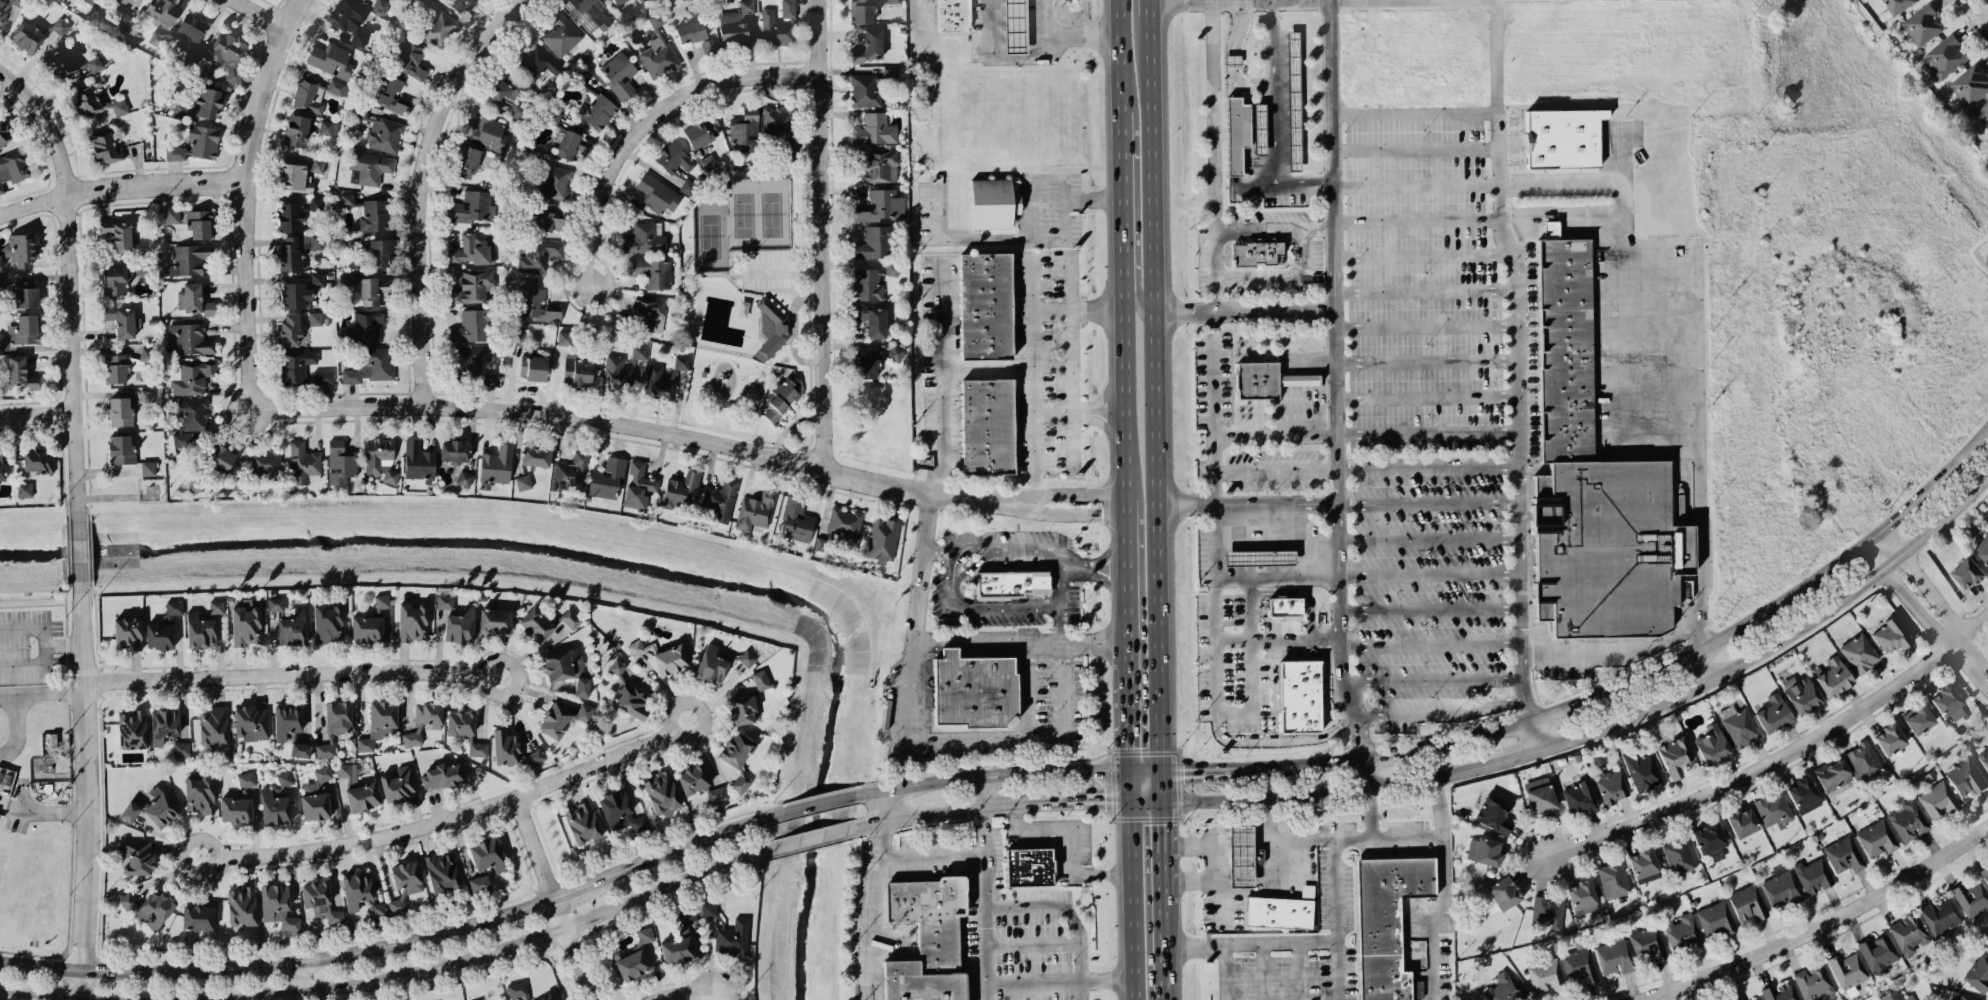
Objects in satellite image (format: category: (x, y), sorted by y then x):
building: (639, 0)
road: (1180, 0)
building: (92, 1)
building: (126, 1)
building: (616, 1)
building: (380, 5)
building: (461, 5)
road: (1148, 5)
building: (1897, 5)
building: (7, 8)
building: (788, 8)
building: (162, 10)
road: (267, 11)
road: (1976, 12)
building: (588, 13)
building: (952, 16)
building: (351, 19)
building: (656, 19)
road: (1043, 20)
building: (1922, 24)
building: (735, 25)
building: (60, 26)
building: (1015, 26)
road: (1238, 27)
building: (438, 28)
building: (776, 28)
building: (189, 31)
building: (690, 31)
building: (561, 32)
building: (26, 36)
building: (870, 46)
road: (1030, 49)
building: (228, 54)
building: (1946, 55)
building: (658, 56)
building: (409, 57)
building: (331, 59)
road: (1232, 59)
building: (94, 63)
building: (60, 64)
building: (539, 64)
building: (619, 75)
road: (1232, 80)
building: (1969, 86)
building: (339, 88)
building: (867, 88)
road: (1274, 91)
building: (387, 92)
building: (508, 92)
building: (309, 96)
building: (86, 100)
building: (1293, 100)
building: (207, 102)
building: (117, 106)
building: (597, 112)
road: (1416, 112)
building: (1983, 114)
building: (553, 117)
road: (646, 121)
building: (780, 126)
building: (328, 128)
building: (1259, 128)
building: (875, 129)
building: (296, 130)
building: (745, 131)
building: (701, 132)
building: (1236, 132)
building: (4, 133)
building: (486, 134)
building: (384, 135)
road: (1233, 135)
building: (1563, 136)
building: (203, 140)
building: (571, 145)
building: (105, 147)
road: (1416, 149)
building: (175, 153)
road: (1214, 155)
building: (674, 157)
building: (465, 161)
building: (878, 165)
building: (12, 167)
building: (370, 167)
building: (299, 174)
road: (1233, 179)
road: (1284, 181)
building: (554, 182)
road: (1417, 183)
building: (688, 186)
road: (1561, 187)
road: (122, 189)
road: (425, 189)
building: (657, 193)
road: (1137, 193)
building: (347, 199)
road: (249, 200)
building: (993, 202)
building: (470, 206)
building: (882, 206)
road: (1559, 211)
building: (171, 214)
building: (374, 215)
building: (291, 216)
building: (547, 217)
road: (1418, 219)
building: (199, 224)
road: (1321, 226)
road: (1032, 227)
road: (1261, 228)
building: (117, 234)
road: (818, 235)
building: (645, 238)
building: (874, 242)
building: (19, 249)
road: (1120, 249)
building: (297, 250)
building: (472, 250)
building: (377, 252)
road: (1425, 252)
building: (1257, 253)
building: (538, 255)
building: (189, 259)
building: (0, 261)
building: (892, 268)
building: (142, 270)
building: (652, 271)
road: (1283, 277)
road: (72, 279)
building: (318, 279)
building: (115, 280)
building: (867, 285)
building: (472, 286)
building: (372, 290)
road: (1427, 290)
building: (26, 294)
building: (295, 295)
building: (194, 300)
road: (1072, 304)
building: (537, 305)
building: (985, 305)
road: (1053, 307)
road: (1244, 310)
building: (315, 318)
building: (871, 319)
road: (1427, 324)
building: (367, 326)
building: (471, 326)
building: (289, 328)
building: (22, 331)
road: (1034, 333)
building: (779, 334)
building: (517, 337)
building: (189, 338)
building: (639, 351)
building: (896, 351)
building: (146, 353)
building: (472, 359)
road: (1315, 359)
building: (682, 361)
road: (1427, 362)
building: (868, 363)
building: (296, 365)
road: (1008, 365)
building: (371, 366)
building: (533, 367)
building: (117, 368)
building: (617, 371)
building: (577, 372)
building: (21, 373)
road: (1517, 374)
building: (323, 376)
road: (1300, 378)
building: (489, 379)
building: (1256, 379)
building: (1293, 379)
road: (941, 380)
road: (1338, 381)
building: (659, 383)
road: (1152, 391)
road: (1697, 391)
road: (1626, 392)
road: (1428, 395)
building: (781, 399)
road: (1301, 409)
road: (38, 411)
building: (119, 411)
road: (1057, 411)
road: (1099, 411)
building: (191, 417)
road: (1214, 421)
building: (987, 425)
road: (623, 427)
road: (1428, 431)
road: (1276, 433)
building: (121, 449)
building: (454, 451)
building: (536, 456)
road: (1969, 457)
building: (221, 458)
building: (381, 459)
building: (38, 460)
building: (419, 461)
road: (63, 462)
building: (303, 462)
building: (340, 462)
building: (265, 464)
building: (2, 465)
building: (496, 465)
road: (1429, 466)
building: (148, 468)
road: (1277, 468)
building: (571, 472)
building: (464, 477)
building: (607, 477)
building: (523, 482)
building: (638, 485)
building: (24, 489)
building: (681, 489)
road: (1057, 495)
building: (719, 500)
road: (1246, 503)
road: (1429, 505)
road: (1918, 506)
building: (755, 510)
road: (1057, 513)
building: (796, 520)
building: (844, 525)
road: (1430, 536)
building: (883, 539)
road: (1878, 540)
building: (819, 545)
road: (1005, 545)
building: (1983, 547)
road: (78, 549)
road: (69, 550)
building: (1614, 550)
building: (1259, 557)
river: (615, 561)
road: (1082, 565)
road: (1430, 571)
road: (1278, 573)
building: (1969, 573)
road: (1125, 580)
building: (1013, 584)
road: (1925, 584)
road: (33, 587)
road: (1061, 596)
road: (1910, 596)
building: (382, 601)
building: (445, 601)
building: (275, 603)
building: (216, 606)
building: (1285, 606)
road: (971, 608)
building: (172, 610)
road: (1431, 610)
building: (570, 618)
building: (495, 620)
building: (412, 621)
building: (328, 623)
building: (536, 624)
building: (461, 625)
road: (30, 627)
building: (292, 628)
building: (367, 628)
building: (200, 630)
building: (128, 632)
building: (159, 635)
building: (1890, 635)
road: (1277, 637)
road: (67, 638)
road: (914, 640)
road: (1020, 641)
road: (1783, 642)
road: (61, 645)
road: (1431, 646)
building: (636, 647)
road: (1611, 652)
building: (1859, 653)
building: (747, 657)
building: (670, 659)
road: (1972, 659)
building: (562, 663)
road: (31, 665)
building: (711, 665)
building: (617, 666)
road: (1706, 666)
road: (288, 673)
building: (1833, 677)
road: (1433, 678)
building: (760, 679)
building: (582, 687)
road: (1028, 688)
building: (973, 690)
road: (1216, 693)
building: (1801, 694)
road: (48, 695)
building: (1298, 695)
road: (1593, 700)
building: (631, 701)
building: (1947, 702)
building: (742, 709)
building: (1773, 713)
building: (429, 714)
building: (582, 714)
road: (1442, 714)
building: (339, 716)
road: (1128, 716)
building: (1918, 719)
building: (287, 720)
building: (555, 720)
road: (14, 722)
building: (461, 722)
building: (250, 723)
building: (380, 723)
building: (163, 724)
building: (213, 726)
building: (1740, 727)
building: (132, 729)
road: (1026, 735)
building: (412, 738)
road: (1279, 738)
building: (1889, 739)
building: (1711, 743)
building: (181, 748)
traffic signals: (1129, 748)
building: (300, 749)
building: (478, 749)
building: (324, 750)
building: (1674, 756)
building: (533, 757)
road: (1513, 757)
building: (1984, 757)
road: (1776, 758)
building: (1863, 760)
road: (1222, 768)
traffic signals: (1182, 769)
building: (1641, 769)
road: (1144, 770)
road: (1368, 774)
road: (85, 775)
building: (442, 775)
road: (990, 775)
building: (1832, 775)
building: (1966, 777)
building: (693, 778)
building: (247, 779)
building: (399, 784)
road: (1129, 785)
road: (1159, 785)
building: (1611, 785)
road: (1385, 788)
building: (358, 789)
road: (981, 792)
building: (199, 793)
building: (662, 793)
building: (717, 794)
building: (316, 795)
building: (1539, 795)
building: (1803, 795)
building: (1579, 798)
building: (1938, 799)
building: (277, 800)
road: (1145, 800)
road: (1224, 800)
road: (1089, 801)
traffic signals: (1106, 801)
road: (889, 803)
road: (815, 804)
building: (160, 808)
road: (54, 809)
building: (235, 810)
building: (1773, 810)
building: (129, 811)
road: (946, 811)
building: (620, 812)
building: (1493, 814)
road: (1373, 816)
road: (449, 817)
building: (1907, 820)
building: (1742, 822)
building: (582, 823)
traffic signals: (1161, 824)
building: (1876, 838)
road: (810, 839)
road: (1073, 839)
road: (702, 840)
building: (1710, 840)
road: (1239, 841)
road: (1261, 841)
road: (1304, 843)
road: (1218, 847)
road: (530, 848)
road: (1161, 850)
building: (1483, 850)
building: (1843, 854)
building: (486, 855)
building: (1239, 856)
building: (136, 857)
road: (930, 857)
building: (1678, 857)
building: (1643, 865)
building: (1028, 866)
building: (442, 872)
building: (1984, 872)
building: (1813, 875)
building: (1613, 879)
building: (479, 883)
road: (590, 883)
building: (1781, 888)
building: (356, 889)
road: (1249, 890)
building: (1503, 893)
road: (1337, 894)
building: (1582, 897)
building: (1971, 897)
road: (1132, 899)
building: (321, 900)
building: (1747, 903)
road: (984, 904)
building: (242, 906)
building: (277, 906)
building: (149, 907)
building: (709, 909)
road: (873, 910)
building: (1546, 911)
building: (378, 912)
road: (1070, 912)
building: (1278, 912)
building: (1940, 916)
building: (197, 917)
building: (1716, 917)
building: (1386, 921)
road: (1443, 923)
road: (1818, 926)
building: (1682, 932)
building: (1908, 933)
road: (539, 934)
building: (645, 934)
building: (732, 938)
building: (926, 938)
building: (680, 940)
building: (1647, 942)
road: (1034, 943)
road: (569, 949)
road: (1163, 950)
building: (1878, 953)
building: (1614, 956)
road: (319, 958)
road: (39, 963)
building: (632, 964)
building: (1579, 965)
road: (1340, 969)
road: (1262, 970)
road: (1299, 970)
building: (1847, 970)
road: (1228, 971)
building: (1545, 974)
building: (1978, 974)
road: (296, 981)
road: (1061, 981)
building: (1813, 981)
road: (77, 983)
building: (1503, 988)
building: (518, 990)
building: (1780, 992)
road: (681, 994)
building: (1892, 995)
building: (1967, 997)
road: (4, 998)
building: (548, 998)
building: (1739, 998)
road: (10, 999)
building: (479, 999)
building: (1757, 999)

